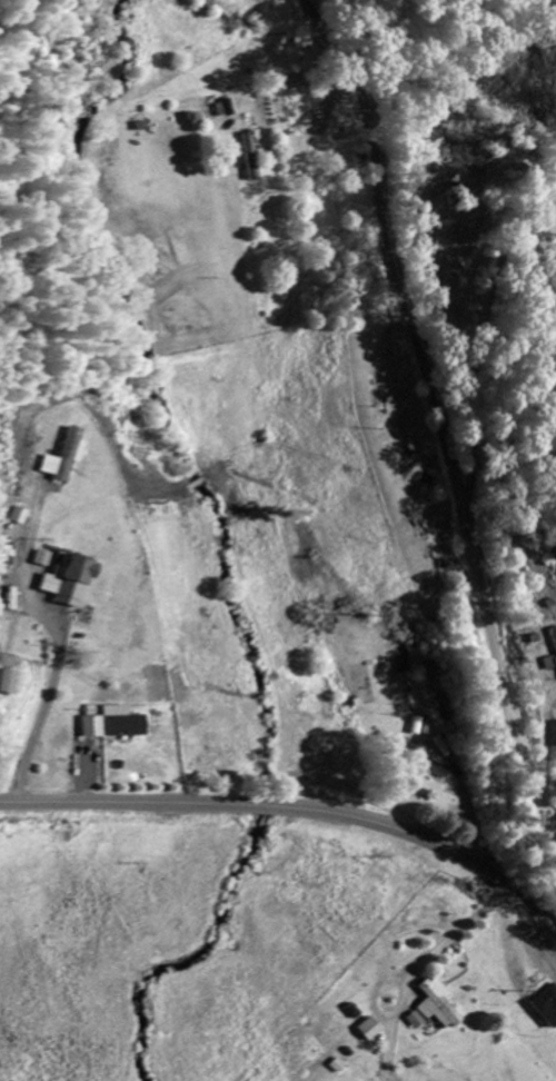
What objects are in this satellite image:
building: (250, 155)
road: (434, 416)
building: (62, 454)
building: (21, 513)
building: (44, 556)
building: (68, 578)
building: (554, 641)
building: (7, 680)
building: (115, 721)
building: (430, 762)
road: (298, 809)
building: (438, 1002)
building: (416, 1018)
building: (369, 1027)

